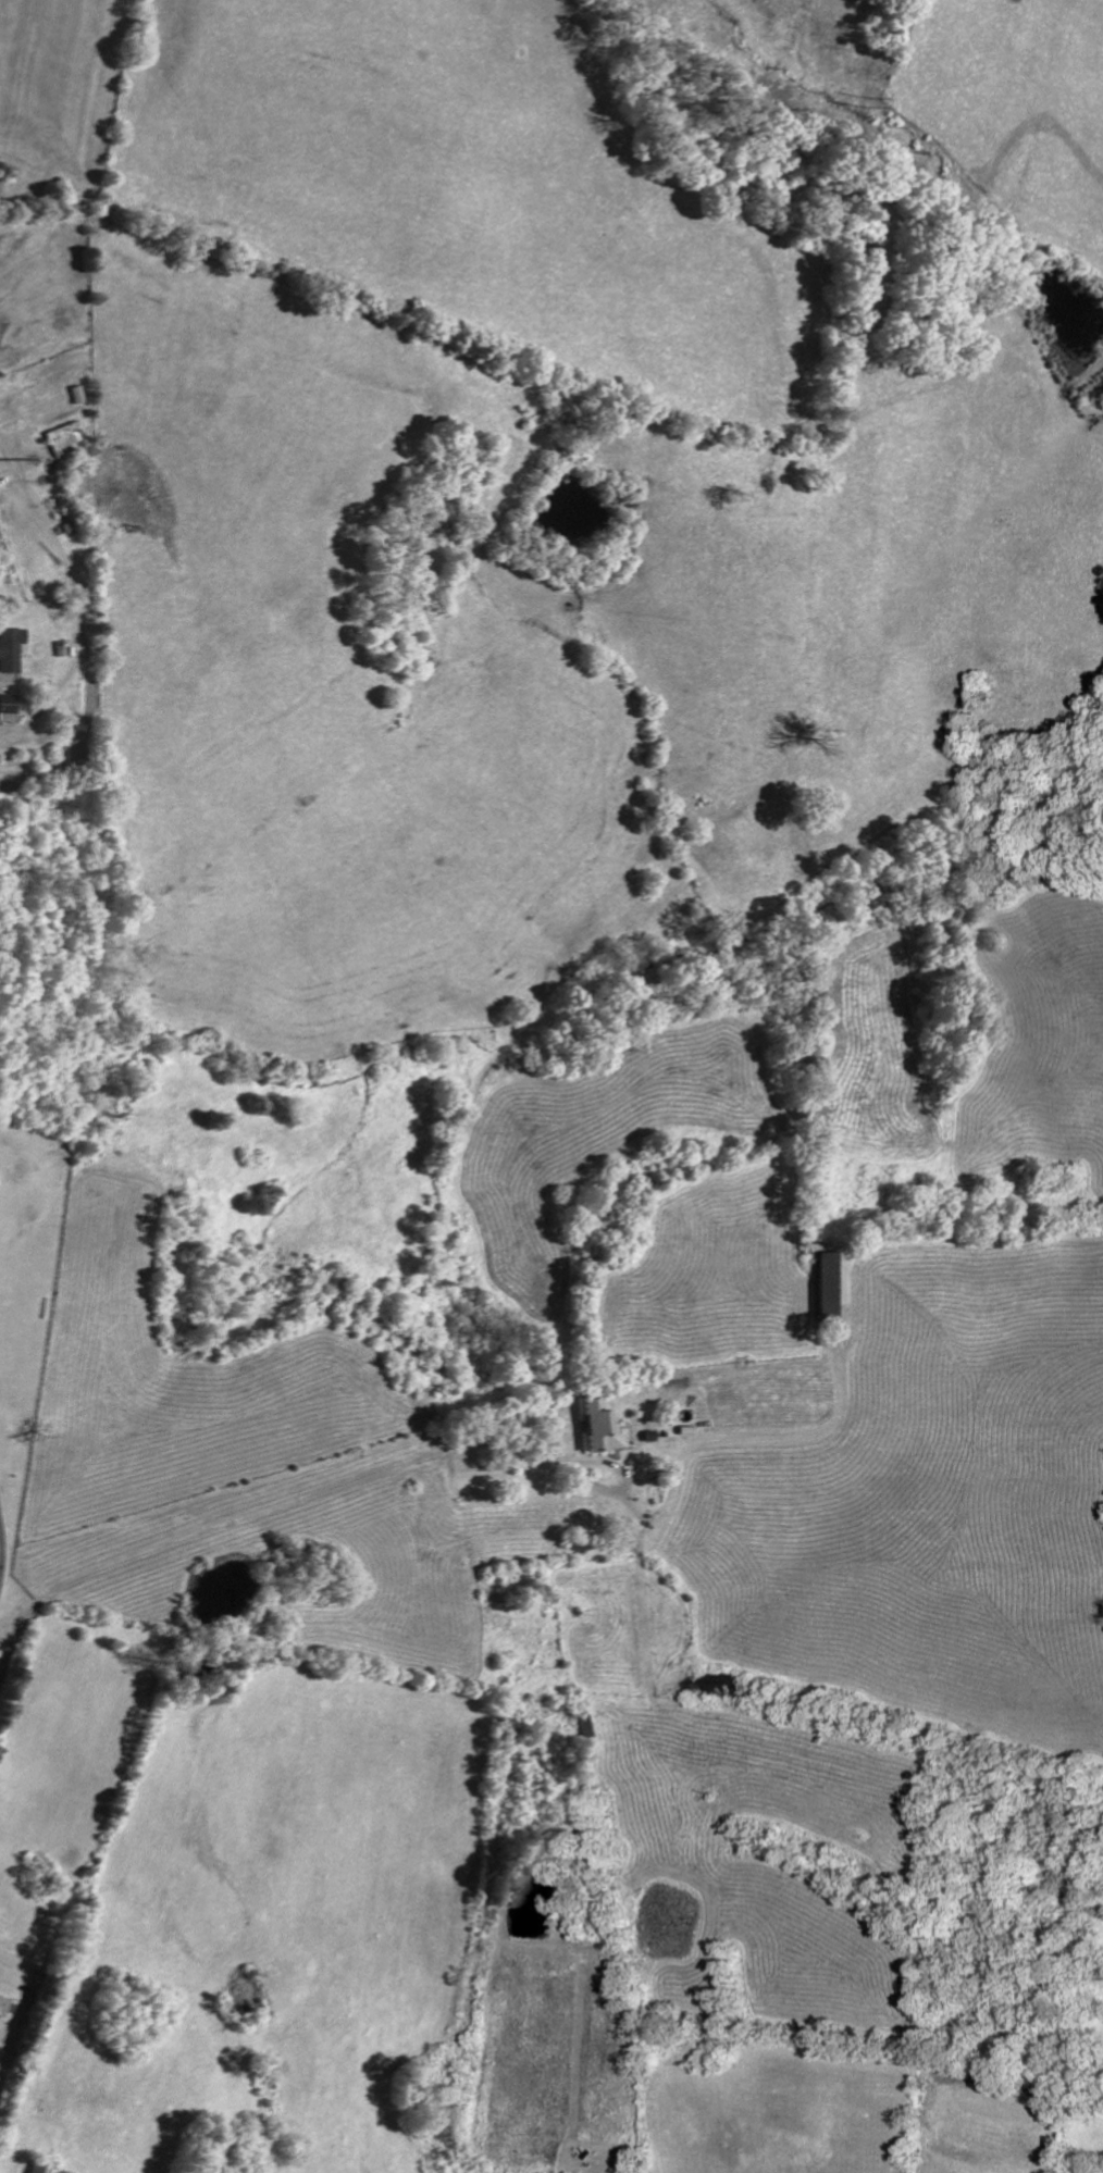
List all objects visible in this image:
power tower: (872, 99)
building: (64, 435)
building: (10, 648)
building: (8, 707)
building: (831, 1290)
building: (596, 1426)
road: (623, 1476)
road: (250, 1510)
road: (1, 1551)
building: (3, 2004)
road: (17, 2038)
building: (37, 2166)

